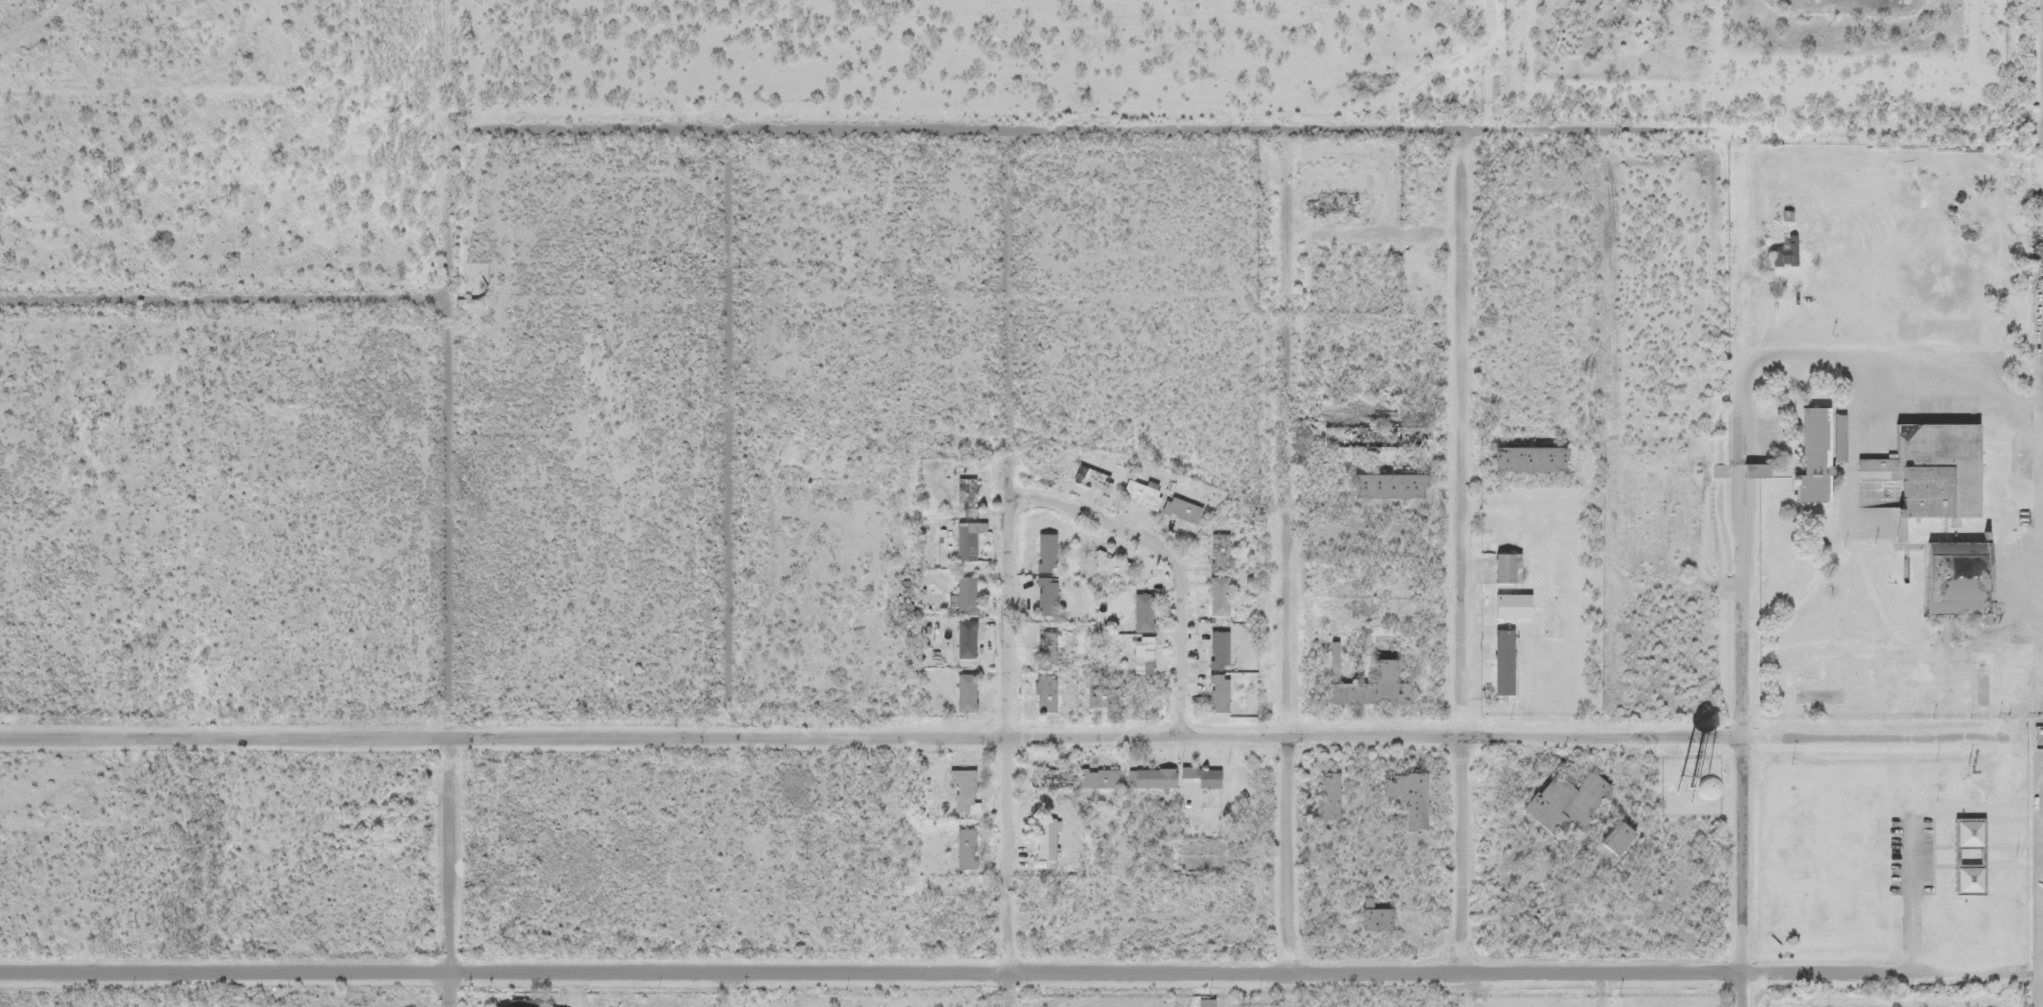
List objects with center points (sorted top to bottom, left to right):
road: (1102, 131)
building: (1792, 252)
road: (223, 296)
road: (1294, 434)
building: (1384, 434)
road: (733, 436)
building: (1824, 455)
building: (1540, 457)
building: (1944, 466)
building: (1756, 472)
building: (1100, 479)
building: (1400, 483)
building: (973, 495)
building: (1149, 495)
building: (1192, 509)
building: (1180, 511)
airport apron: (2041, 511)
building: (974, 541)
airport: (1903, 542)
building: (1053, 552)
building: (1228, 552)
road: (1470, 553)
road: (1014, 554)
building: (1044, 554)
building: (1217, 554)
road: (1175, 560)
building: (1119, 565)
building: (1511, 568)
road: (449, 574)
road: (1747, 575)
building: (1966, 575)
building: (976, 594)
building: (1228, 594)
building: (1055, 595)
building: (964, 596)
building: (1217, 597)
building: (1045, 598)
building: (1150, 611)
building: (972, 638)
building: (1228, 649)
building: (1057, 650)
building: (1217, 651)
building: (1151, 656)
building: (1141, 657)
building: (1511, 663)
building: (1376, 684)
building: (972, 692)
building: (1228, 693)
building: (1044, 694)
building: (1055, 694)
building: (1217, 695)
building: (1113, 697)
road: (1609, 737)
road: (735, 739)
building: (1209, 777)
building: (1060, 778)
building: (1163, 778)
building: (1110, 780)
water tower: (1694, 786)
building: (970, 787)
building: (1333, 795)
building: (1415, 798)
building: (1572, 801)
building: (1623, 838)
building: (1053, 839)
building: (974, 847)
building: (964, 850)
road: (1291, 856)
building: (1969, 857)
building: (1379, 916)
road: (1011, 976)
road: (723, 990)
road: (1465, 991)
building: (1205, 1003)

